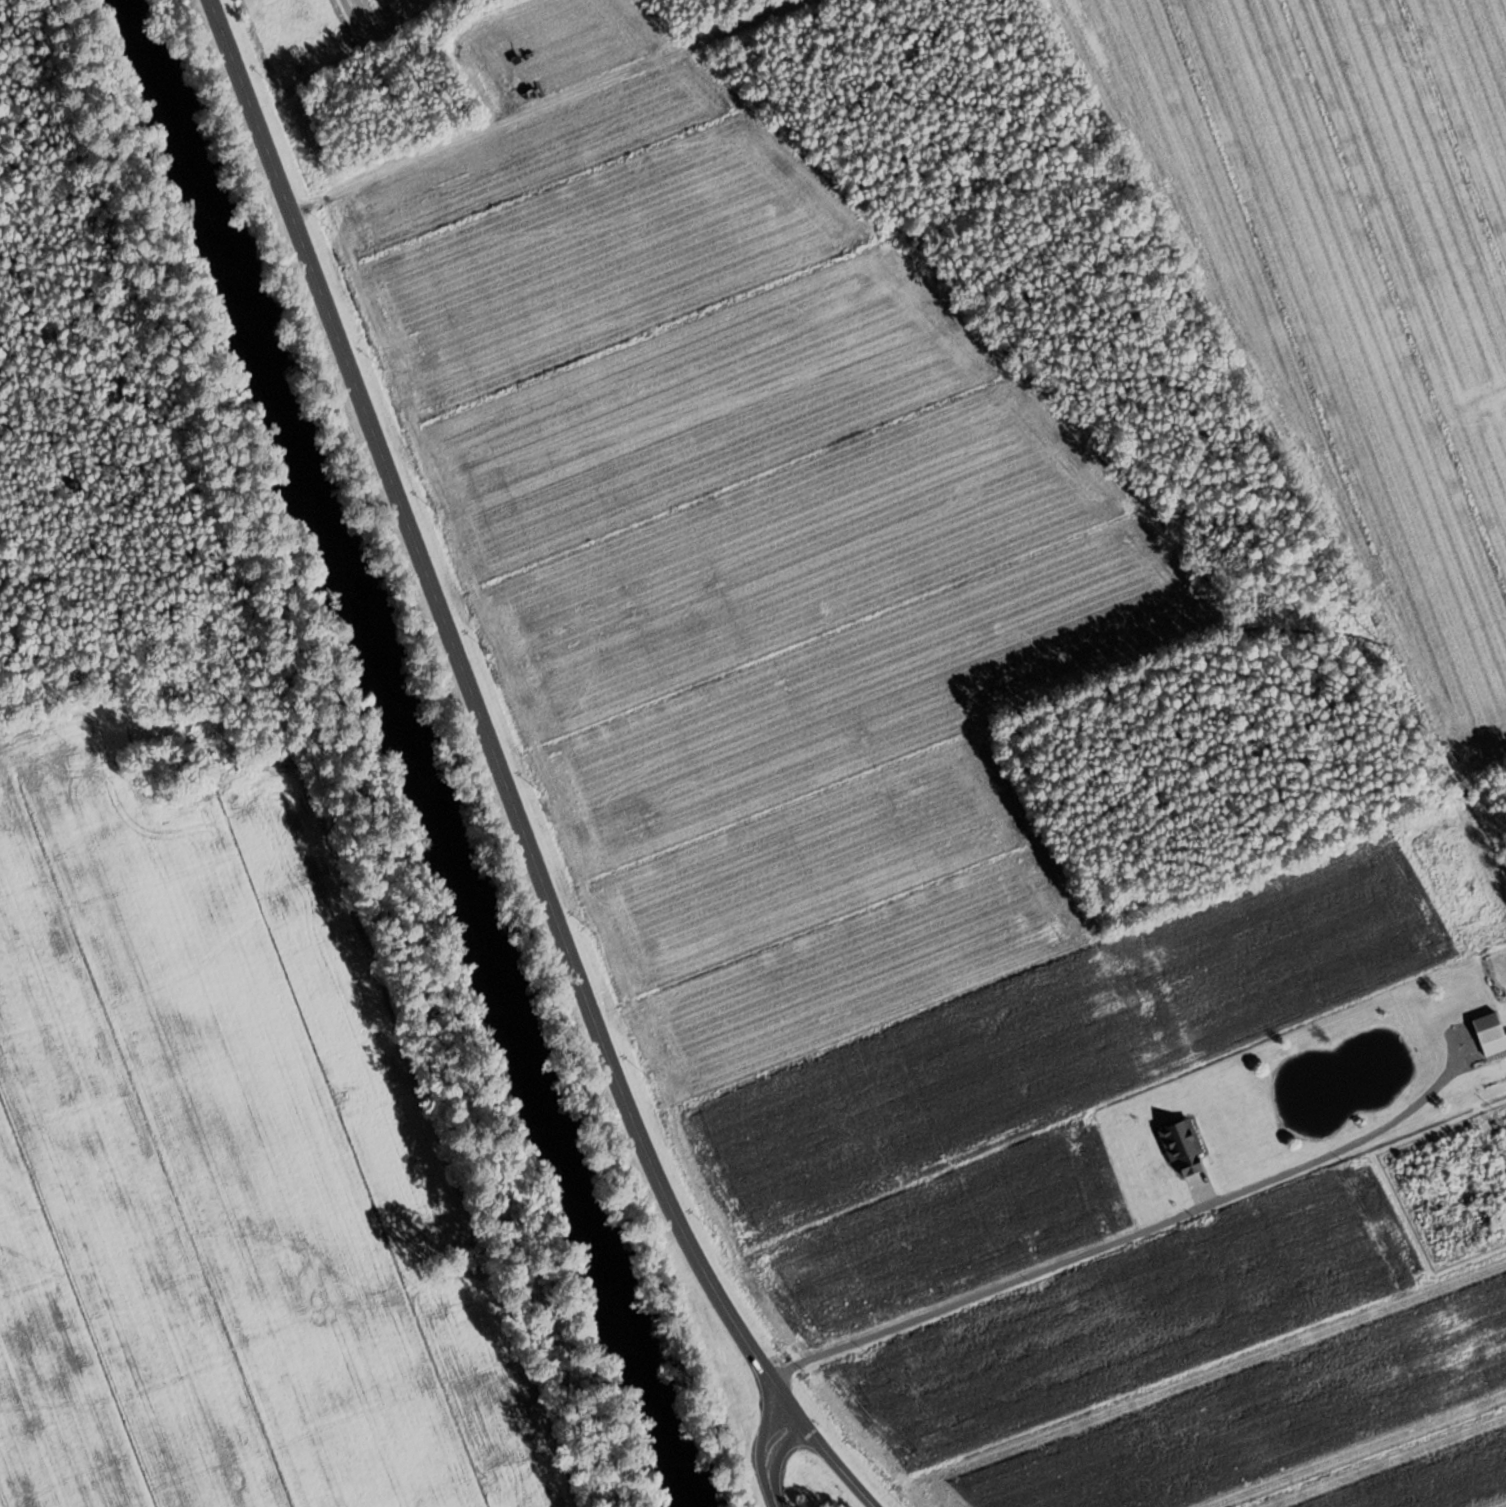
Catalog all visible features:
road: (477, 718)
building: (1489, 1032)
building: (1183, 1146)
road: (1118, 1240)
road: (765, 1454)
road: (834, 1460)

